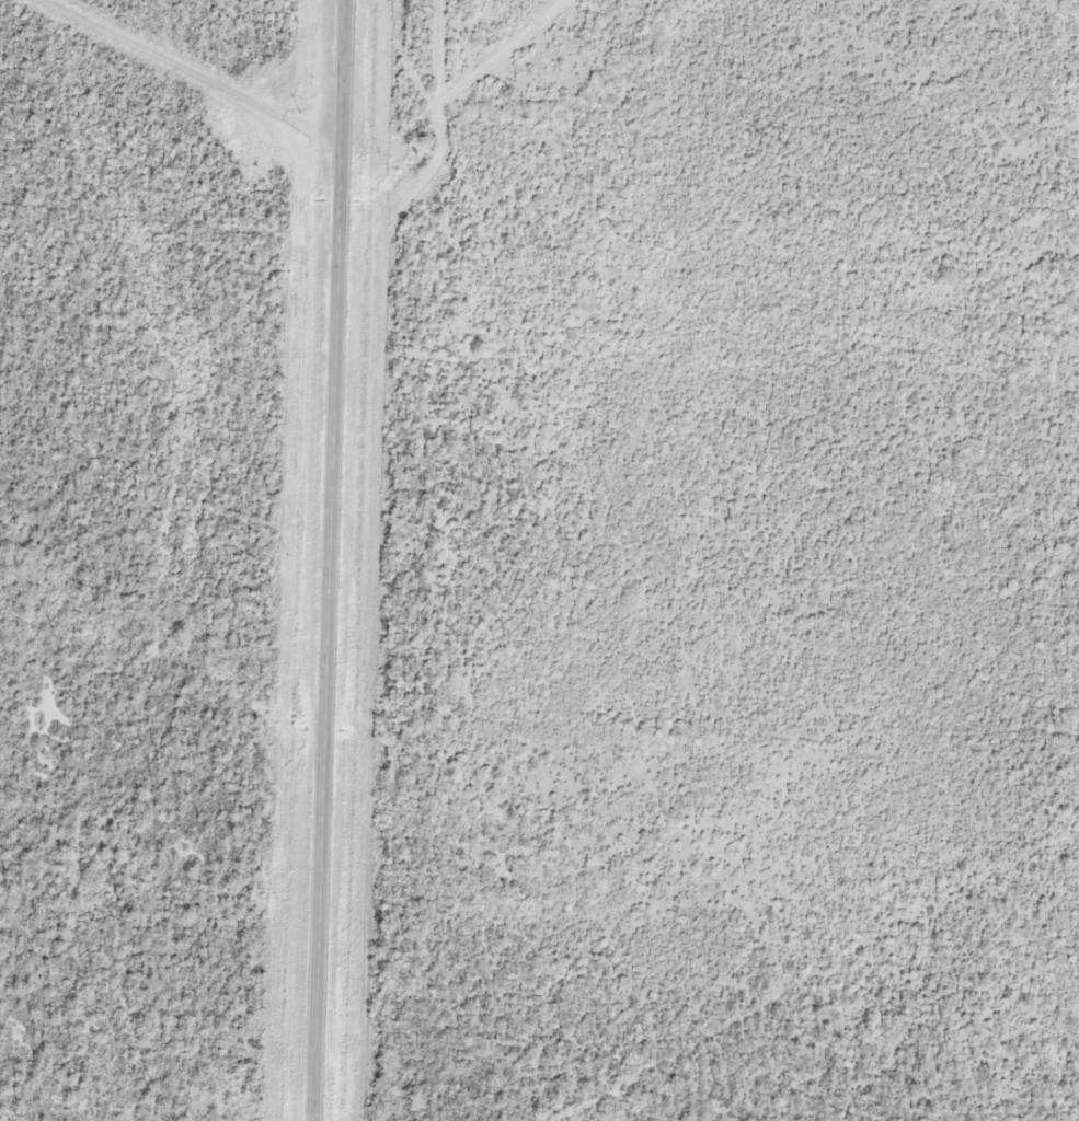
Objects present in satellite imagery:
road: (181, 71)
road: (324, 559)

